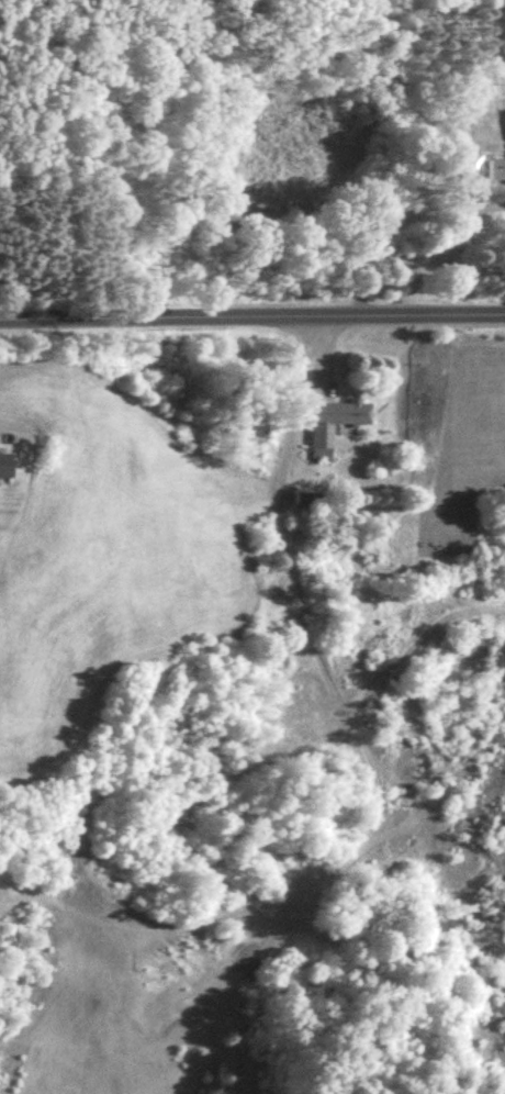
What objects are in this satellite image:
building: (482, 168)
road: (405, 238)
road: (252, 314)
building: (335, 424)
building: (5, 467)
road: (280, 524)

